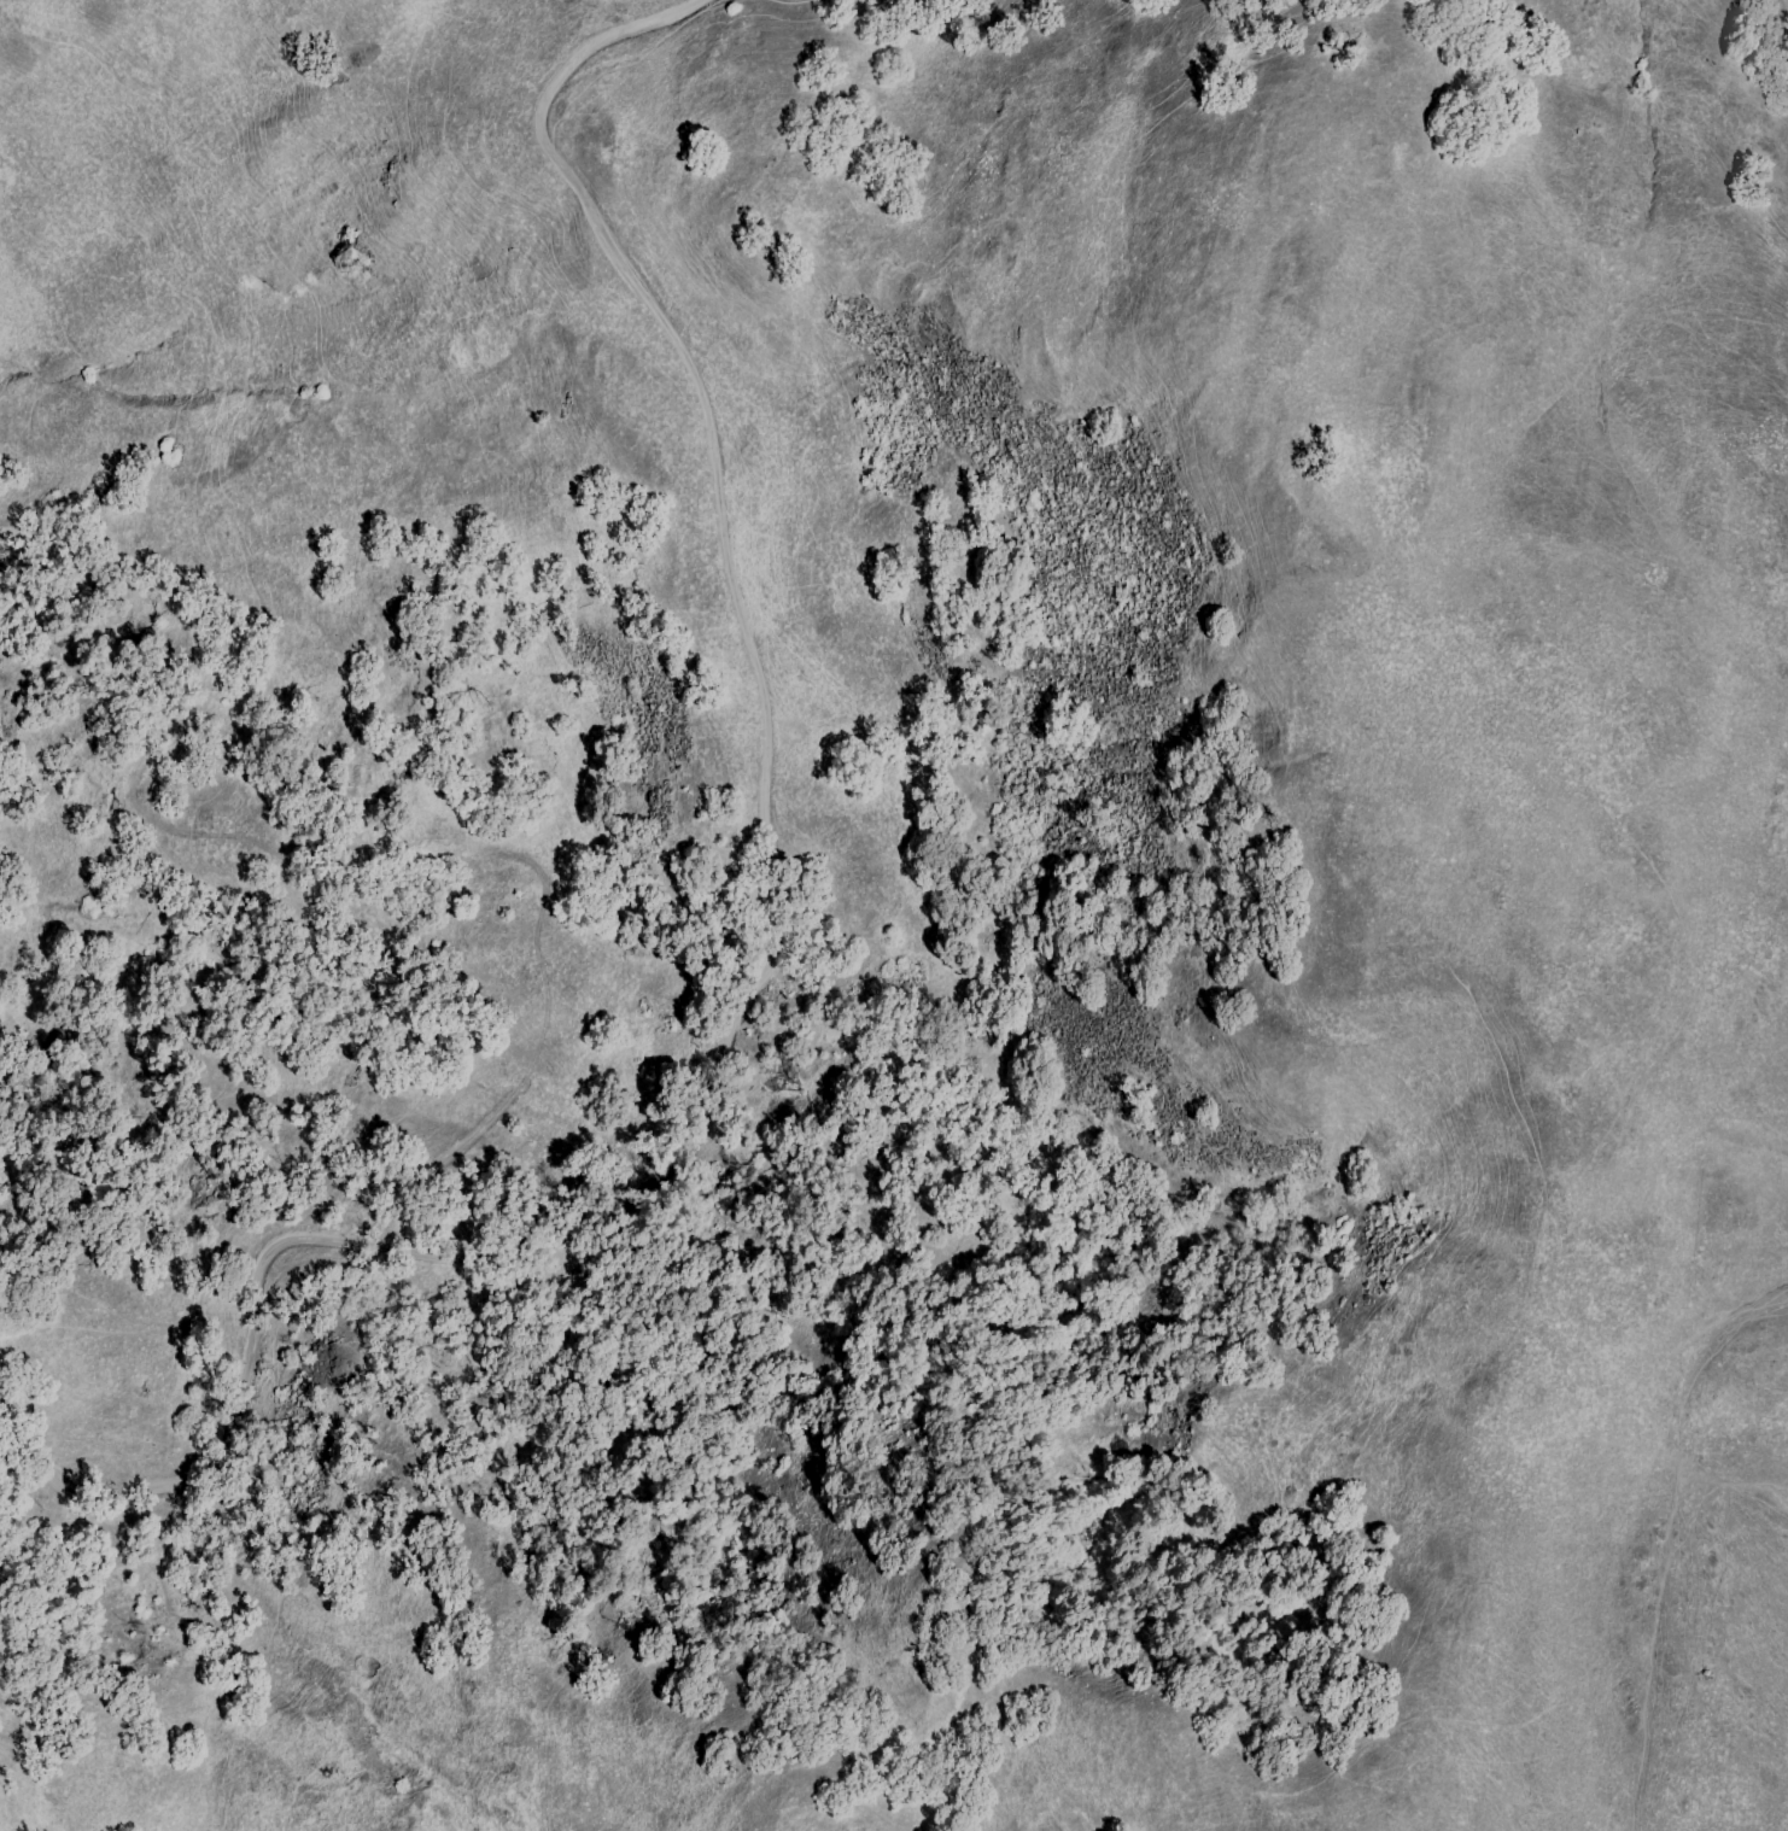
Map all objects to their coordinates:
road: (1781, 16)
road: (755, 981)

